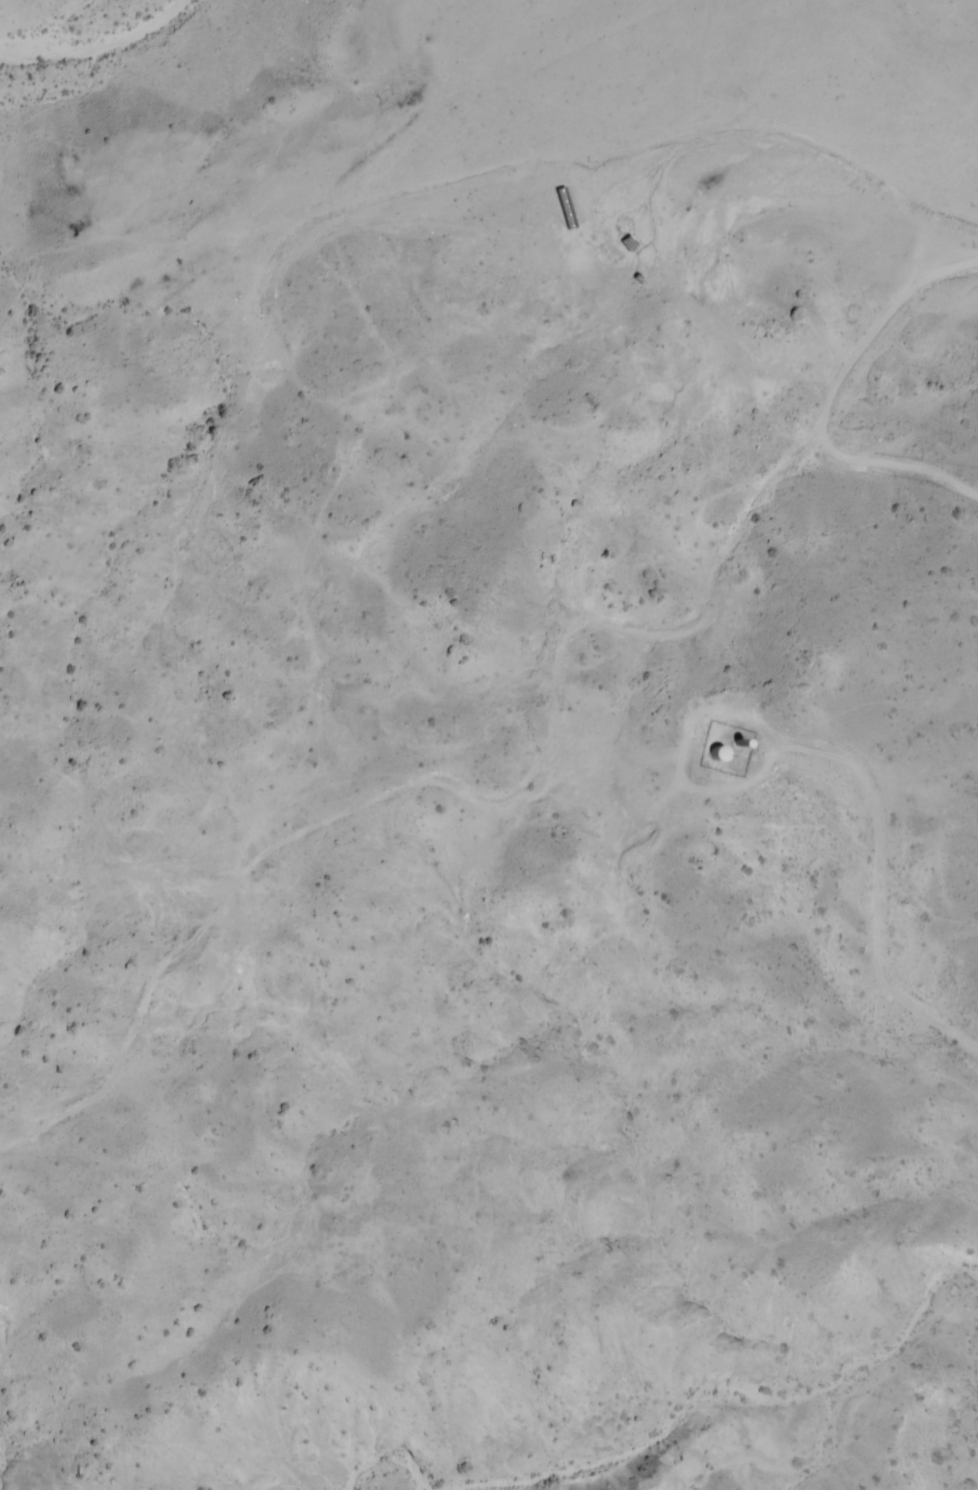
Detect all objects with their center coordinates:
building: (563, 207)
road: (495, 240)
road: (888, 472)
road: (537, 766)
road: (881, 877)

